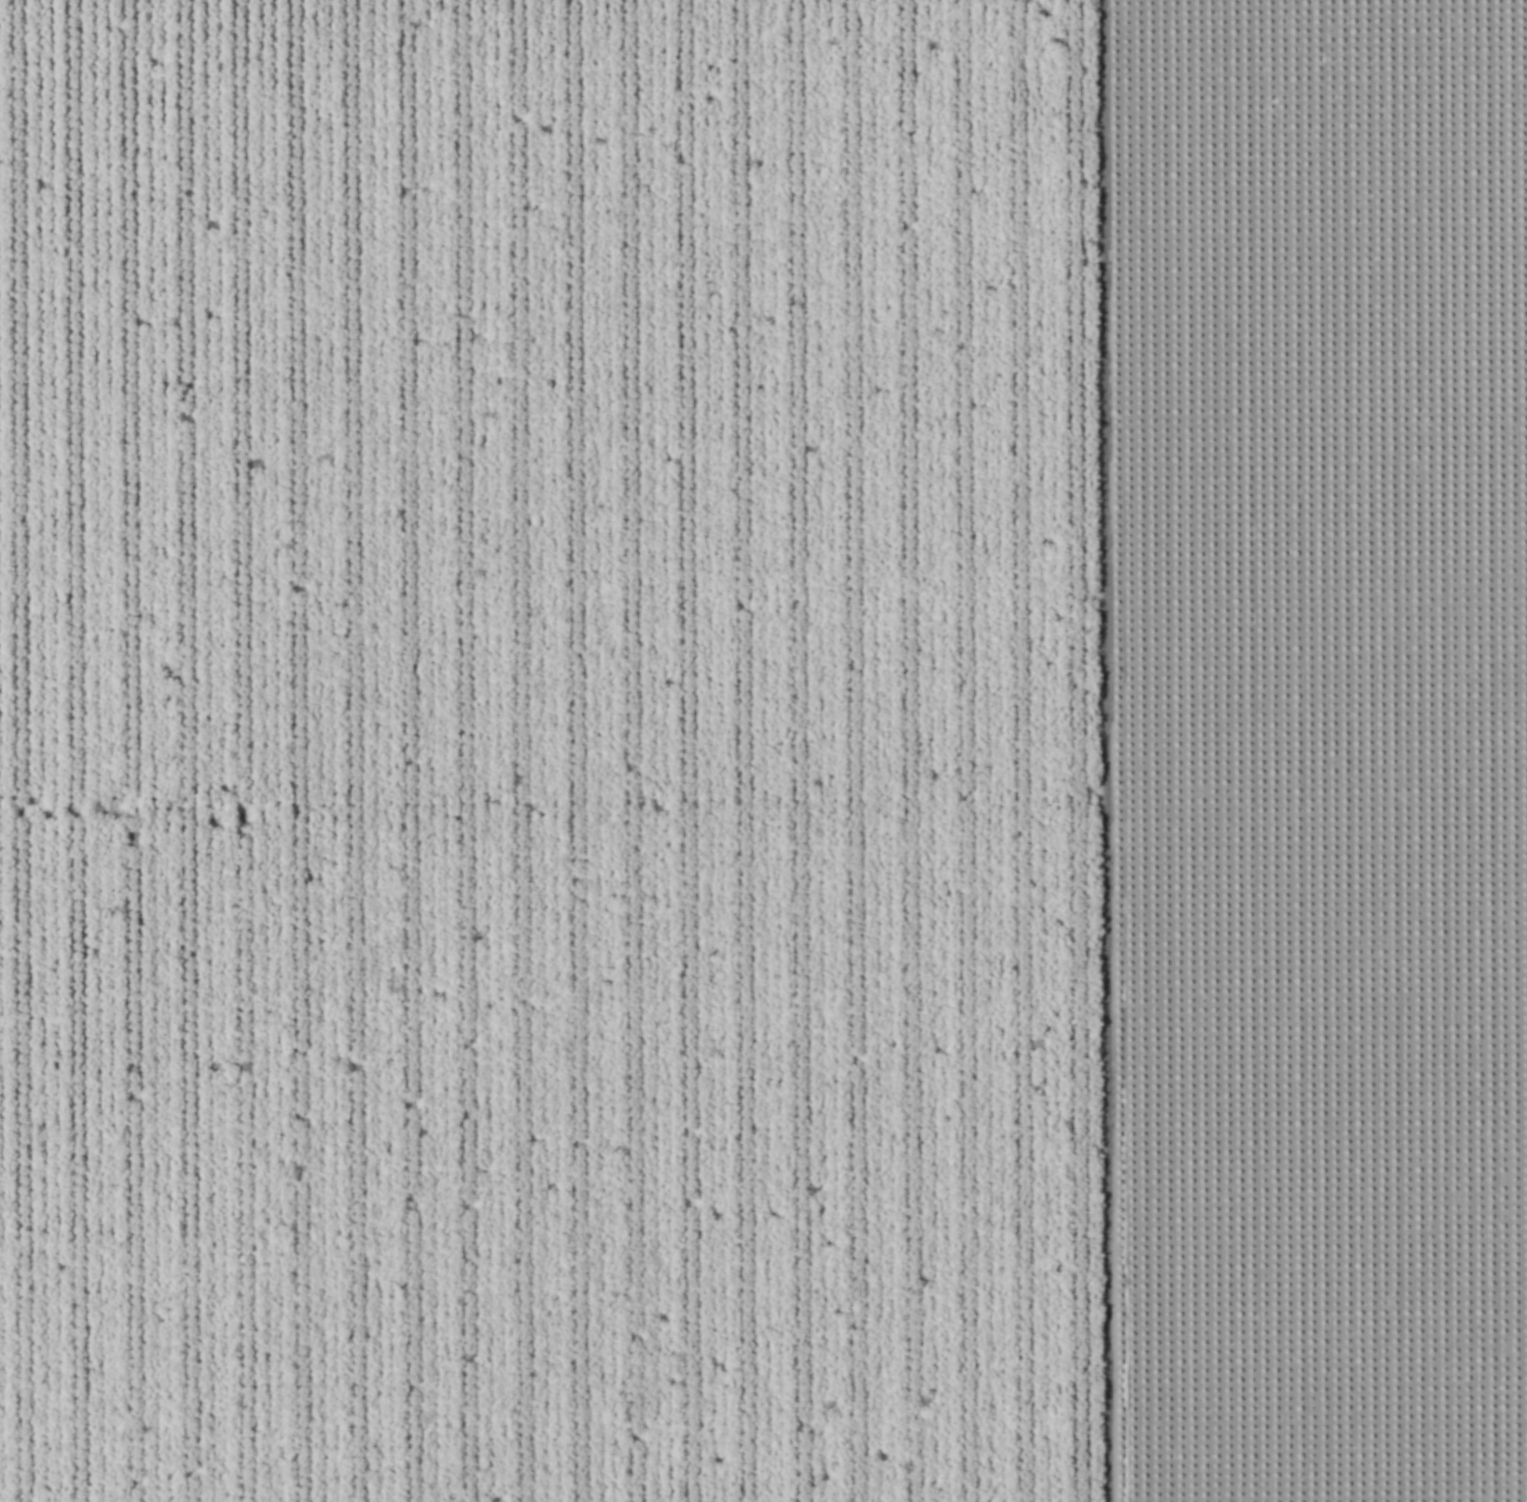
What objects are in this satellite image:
road: (1120, 751)

